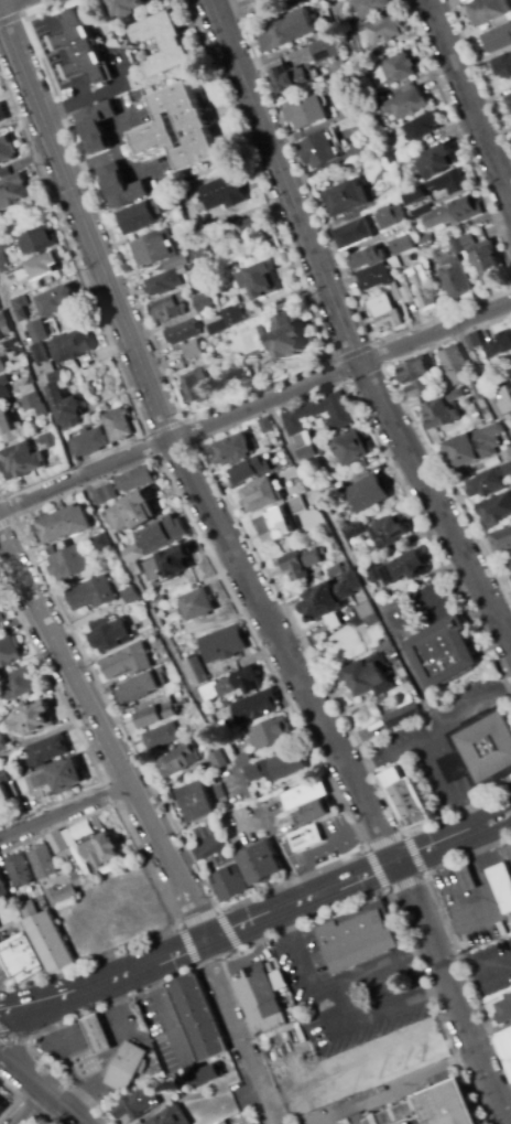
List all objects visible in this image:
building: (329, 1)
road: (10, 3)
building: (269, 3)
building: (129, 7)
building: (367, 9)
building: (487, 10)
building: (348, 17)
road: (10, 19)
building: (282, 32)
building: (381, 32)
building: (498, 38)
building: (163, 44)
building: (84, 50)
building: (325, 50)
building: (502, 67)
building: (398, 68)
road: (480, 74)
building: (287, 79)
building: (134, 94)
building: (509, 100)
road: (470, 103)
building: (368, 105)
building: (405, 105)
building: (305, 113)
building: (2, 115)
building: (421, 127)
building: (96, 128)
building: (177, 129)
road: (457, 129)
building: (6, 150)
road: (122, 150)
building: (317, 151)
building: (435, 162)
road: (94, 163)
building: (4, 173)
road: (283, 181)
building: (448, 182)
building: (120, 186)
building: (12, 191)
building: (222, 193)
building: (345, 197)
building: (414, 197)
building: (421, 211)
building: (454, 213)
building: (389, 216)
building: (142, 218)
building: (15, 220)
building: (239, 231)
building: (352, 234)
building: (36, 242)
road: (329, 242)
building: (407, 244)
building: (4, 245)
building: (159, 253)
building: (198, 254)
building: (480, 258)
building: (372, 268)
building: (36, 269)
building: (186, 275)
building: (455, 280)
building: (259, 281)
building: (164, 282)
building: (421, 287)
building: (395, 292)
building: (405, 295)
building: (56, 301)
building: (203, 303)
building: (170, 308)
building: (0, 311)
building: (22, 311)
building: (384, 313)
building: (232, 317)
building: (4, 325)
building: (211, 325)
road: (102, 327)
building: (182, 332)
road: (435, 333)
building: (287, 339)
building: (472, 340)
building: (37, 341)
building: (499, 344)
building: (73, 346)
building: (13, 347)
building: (186, 352)
road: (350, 352)
building: (252, 355)
building: (455, 365)
building: (2, 366)
building: (488, 368)
building: (412, 371)
building: (55, 377)
building: (496, 379)
road: (481, 381)
building: (196, 383)
building: (4, 389)
building: (418, 389)
building: (478, 390)
building: (456, 395)
building: (508, 398)
building: (34, 406)
building: (64, 407)
road: (217, 408)
building: (475, 413)
building: (437, 414)
parking lot: (509, 418)
building: (296, 420)
road: (414, 424)
building: (8, 425)
building: (118, 426)
building: (265, 426)
road: (164, 427)
road: (178, 435)
building: (44, 439)
building: (88, 442)
building: (472, 445)
building: (352, 446)
building: (235, 449)
building: (311, 452)
building: (507, 453)
building: (21, 461)
road: (206, 461)
building: (505, 470)
building: (249, 471)
building: (135, 480)
building: (485, 483)
building: (368, 491)
building: (329, 493)
building: (105, 494)
building: (260, 495)
road: (435, 503)
building: (494, 510)
building: (133, 512)
road: (11, 518)
road: (6, 521)
building: (279, 522)
building: (64, 524)
building: (351, 531)
building: (389, 532)
building: (501, 539)
building: (154, 542)
building: (98, 544)
building: (509, 561)
building: (69, 564)
building: (170, 564)
building: (301, 564)
road: (351, 564)
building: (398, 569)
road: (242, 572)
building: (91, 595)
road: (142, 597)
building: (330, 600)
building: (157, 601)
building: (197, 604)
building: (368, 614)
building: (1, 617)
building: (109, 634)
building: (367, 642)
building: (222, 645)
building: (9, 652)
building: (442, 652)
building: (128, 662)
building: (196, 672)
building: (371, 673)
building: (17, 684)
building: (232, 685)
building: (137, 688)
building: (255, 707)
road: (467, 709)
building: (154, 714)
building: (402, 716)
building: (30, 720)
road: (78, 734)
building: (271, 734)
building: (161, 737)
road: (105, 739)
building: (2, 746)
building: (211, 747)
building: (479, 749)
building: (48, 750)
building: (177, 760)
building: (243, 760)
road: (436, 760)
building: (217, 761)
building: (280, 766)
building: (55, 780)
building: (13, 782)
building: (219, 792)
building: (3, 794)
building: (304, 795)
building: (404, 797)
building: (196, 803)
road: (460, 806)
road: (64, 810)
building: (320, 811)
building: (307, 839)
road: (366, 848)
building: (100, 850)
building: (65, 852)
building: (41, 861)
building: (260, 866)
building: (19, 870)
building: (465, 876)
building: (77, 879)
building: (229, 884)
building: (2, 886)
building: (501, 886)
road: (162, 895)
building: (61, 896)
road: (198, 918)
road: (257, 921)
road: (402, 931)
building: (358, 936)
road: (449, 938)
building: (48, 941)
building: (21, 956)
road: (480, 975)
building: (260, 1000)
building: (503, 1011)
building: (196, 1016)
road: (54, 1025)
parking lot: (338, 1025)
building: (97, 1032)
road: (240, 1032)
road: (3, 1039)
road: (11, 1039)
building: (504, 1043)
building: (126, 1066)
building: (509, 1066)
building: (205, 1075)
road: (42, 1088)
building: (1, 1104)
road: (30, 1106)
building: (137, 1106)
building: (428, 1109)
building: (171, 1117)
building: (224, 1122)

